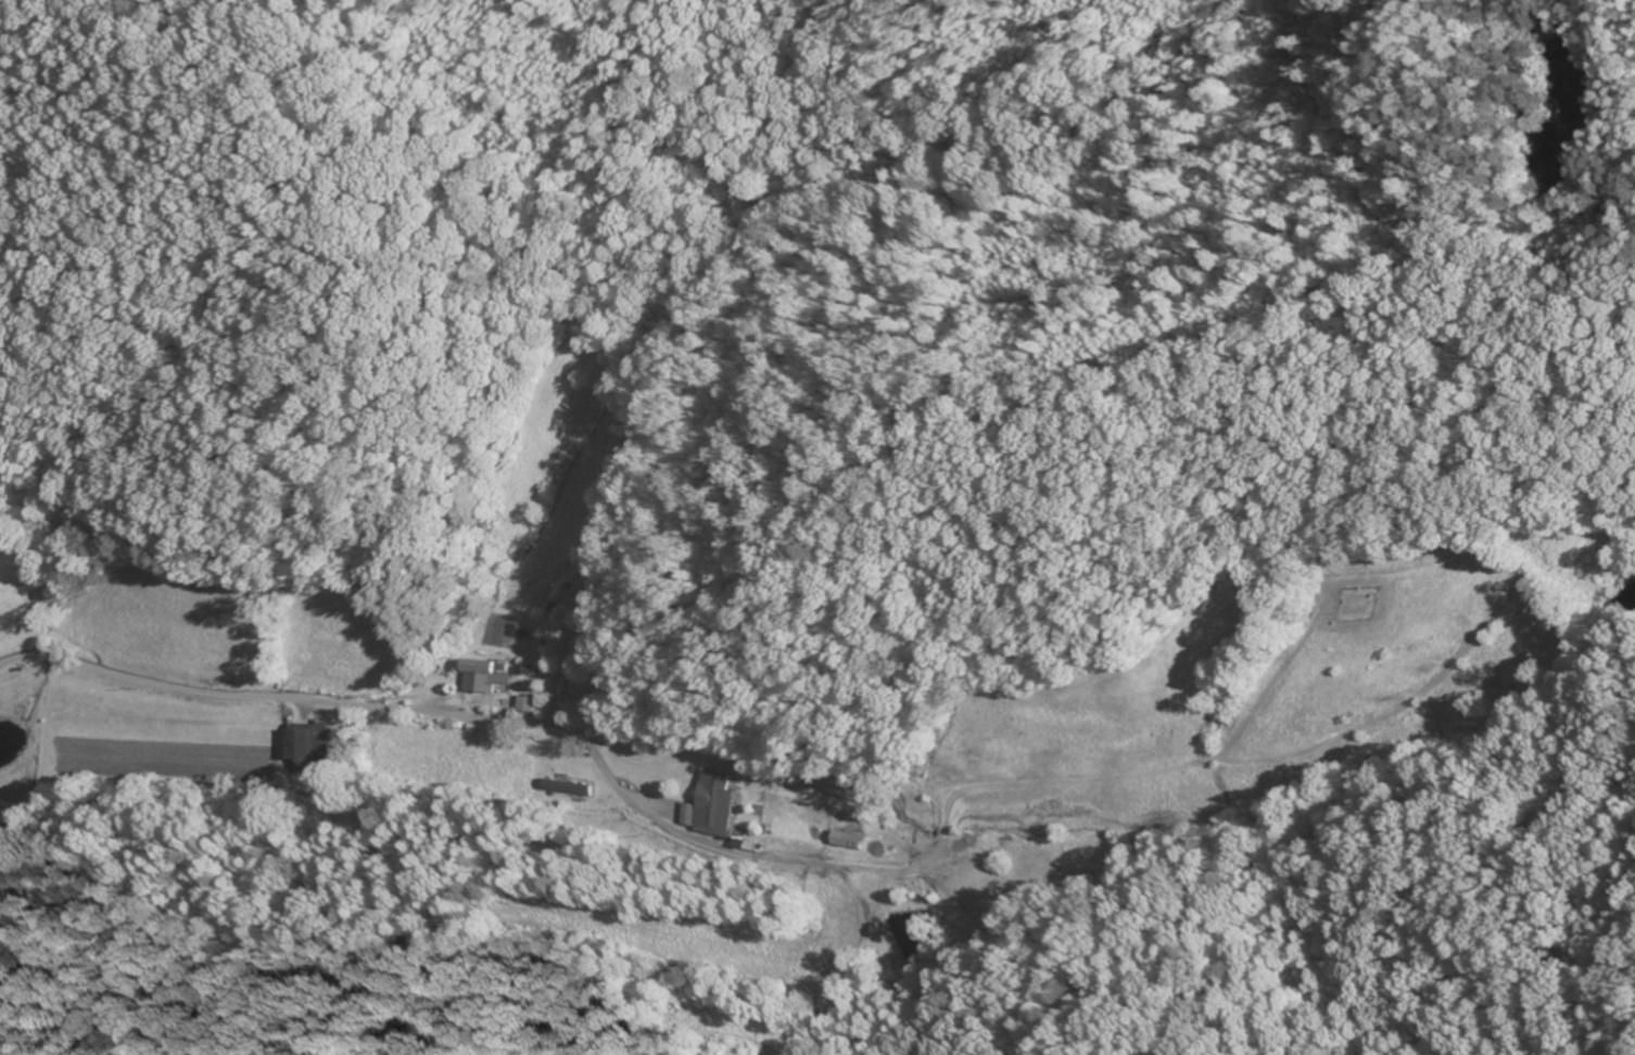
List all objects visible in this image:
road: (444, 633)
building: (486, 675)
road: (328, 702)
building: (309, 741)
building: (714, 799)
building: (852, 840)

